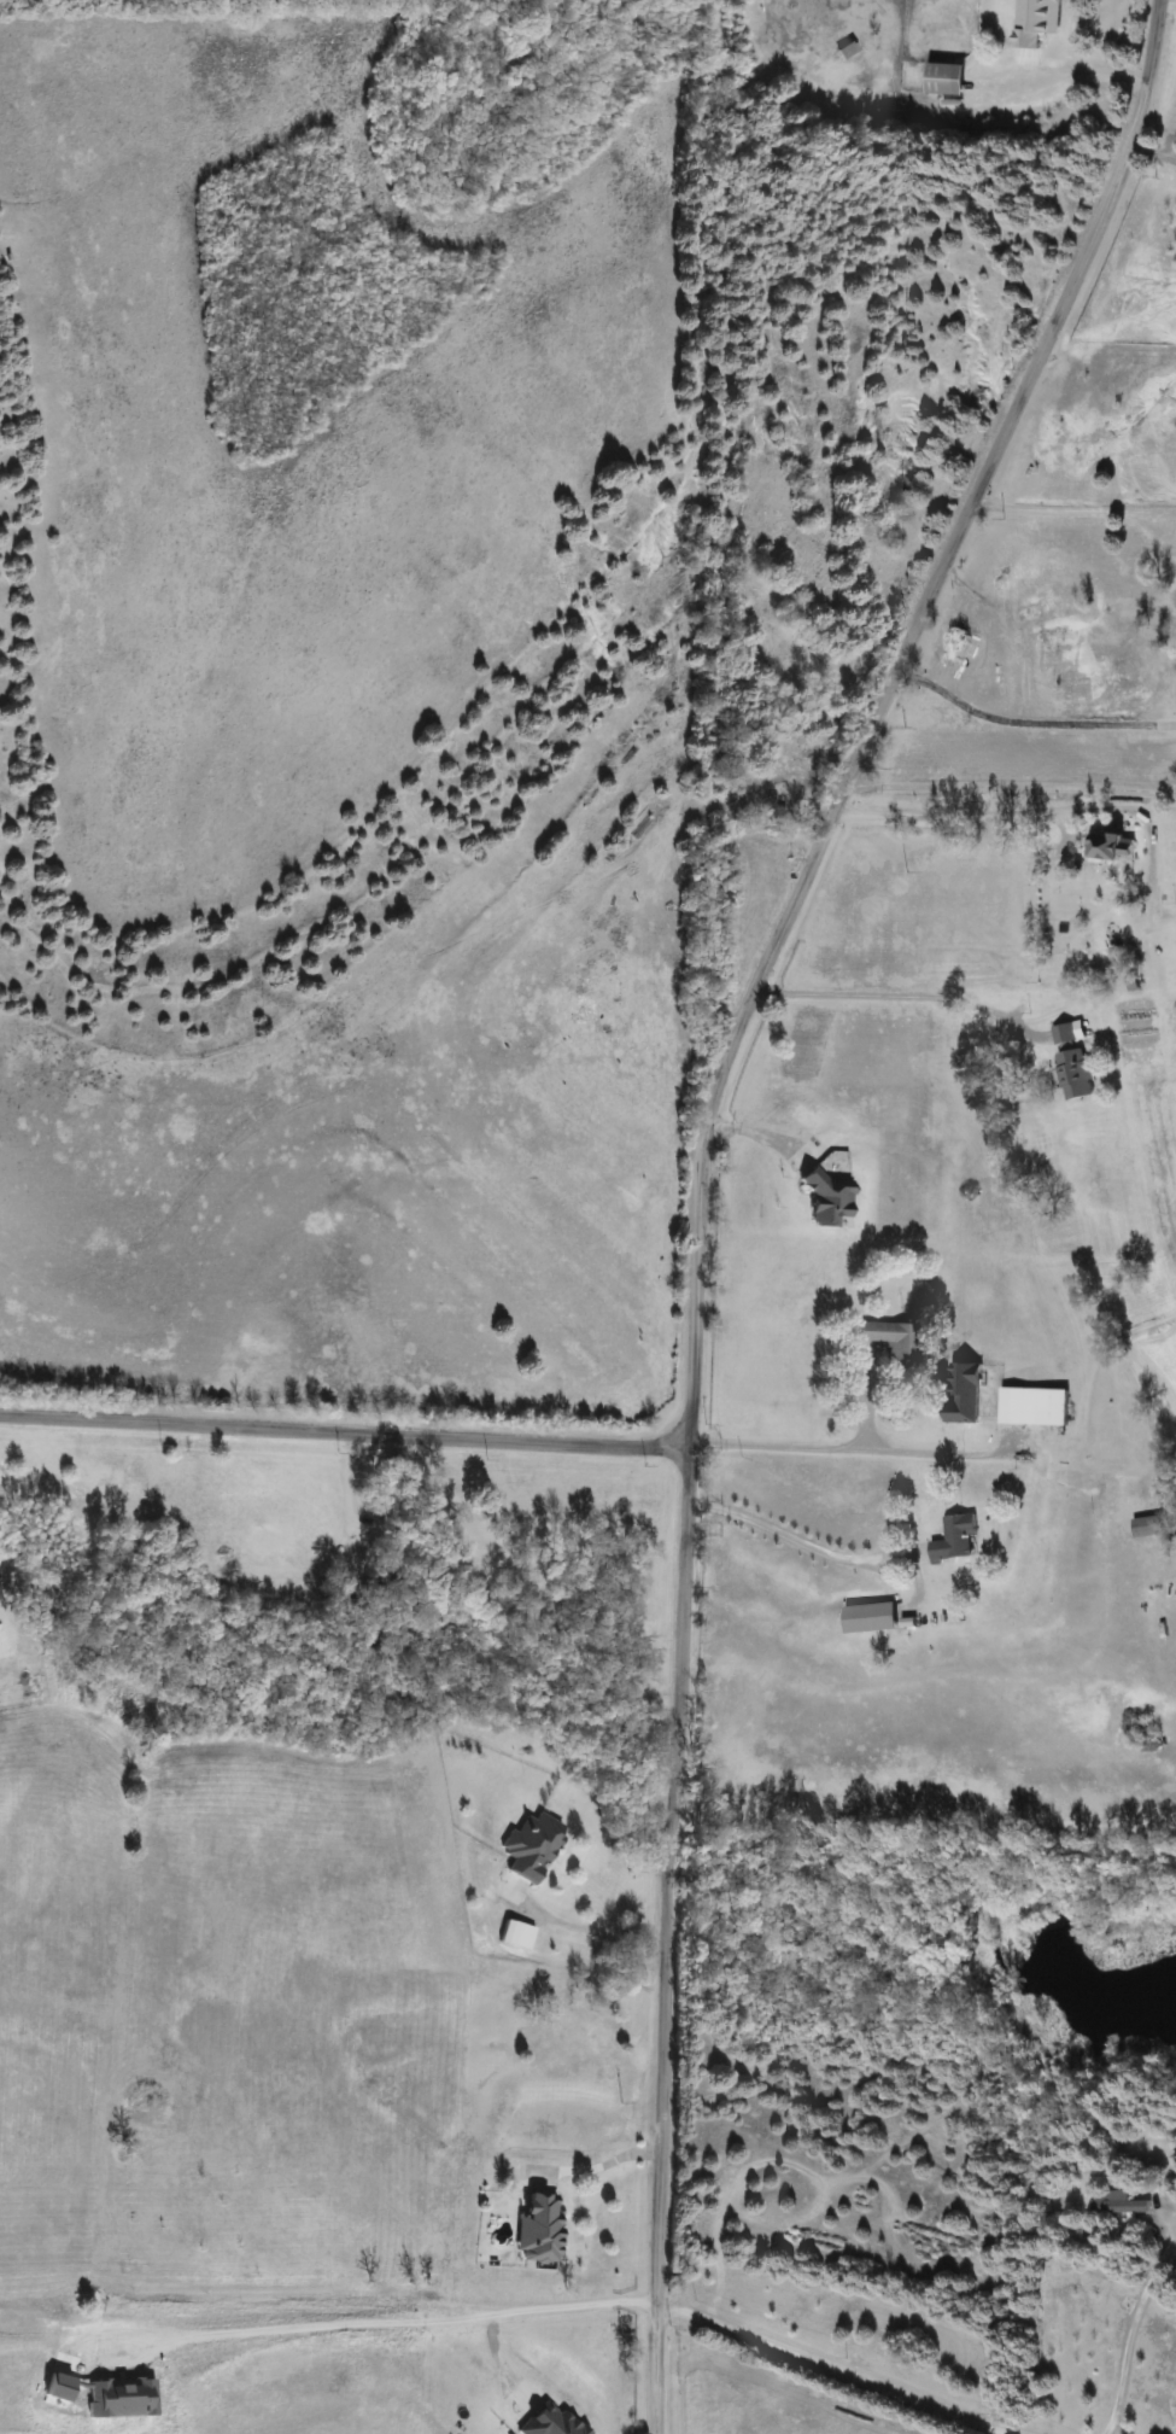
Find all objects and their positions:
building: (1036, 21)
road: (1084, 70)
building: (946, 78)
road: (1073, 514)
road: (1030, 725)
road: (1008, 789)
road: (996, 821)
building: (1107, 848)
road: (896, 998)
building: (1064, 1034)
building: (1073, 1073)
road: (697, 1171)
building: (890, 1337)
building: (1032, 1405)
road: (344, 1432)
road: (774, 1444)
road: (347, 1489)
building: (1147, 1525)
building: (954, 1539)
road: (792, 1541)
building: (870, 1617)
building: (531, 1846)
road: (583, 1927)
building: (515, 1934)
road: (592, 2170)
building: (1117, 2202)
building: (539, 2229)
road: (543, 2310)
road: (345, 2316)
road: (1127, 2322)
road: (833, 2369)
road: (1000, 2432)

